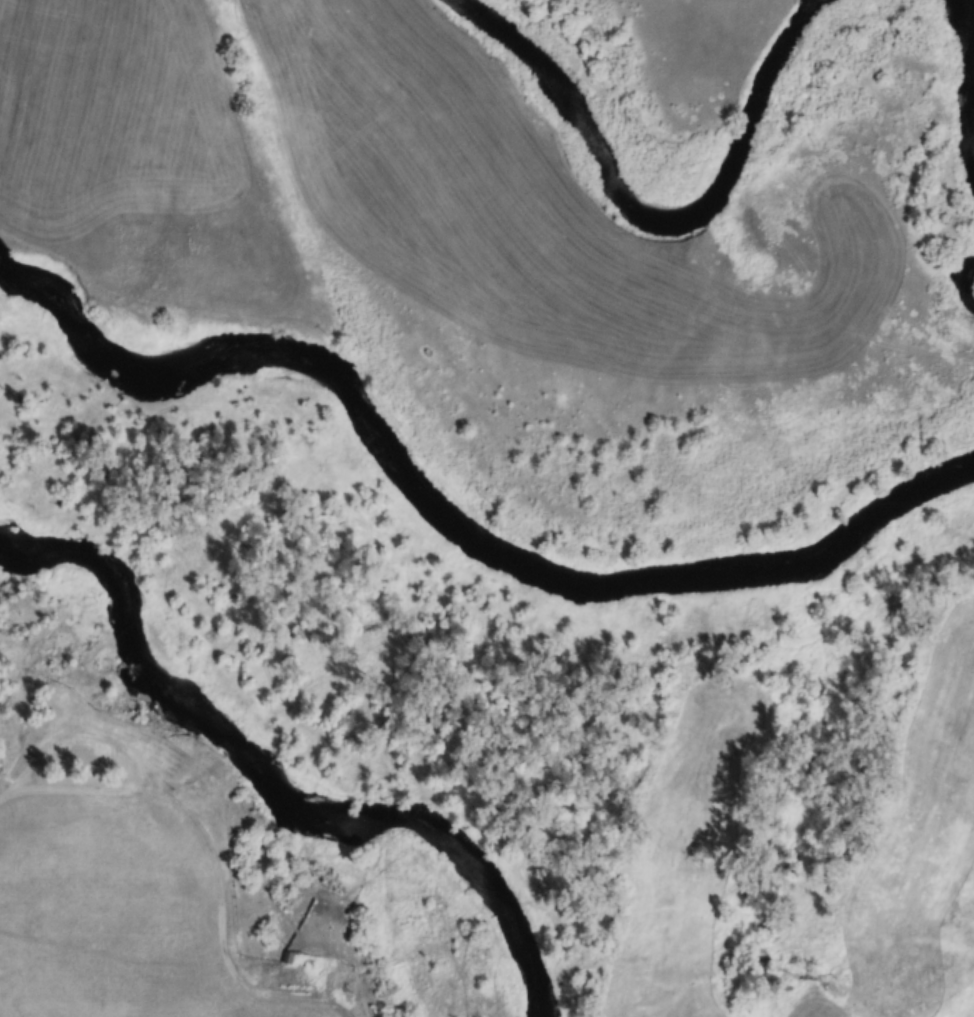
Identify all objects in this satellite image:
river: (965, 39)
river: (650, 218)
river: (451, 514)
building: (88, 759)
river: (268, 773)
building: (294, 959)

